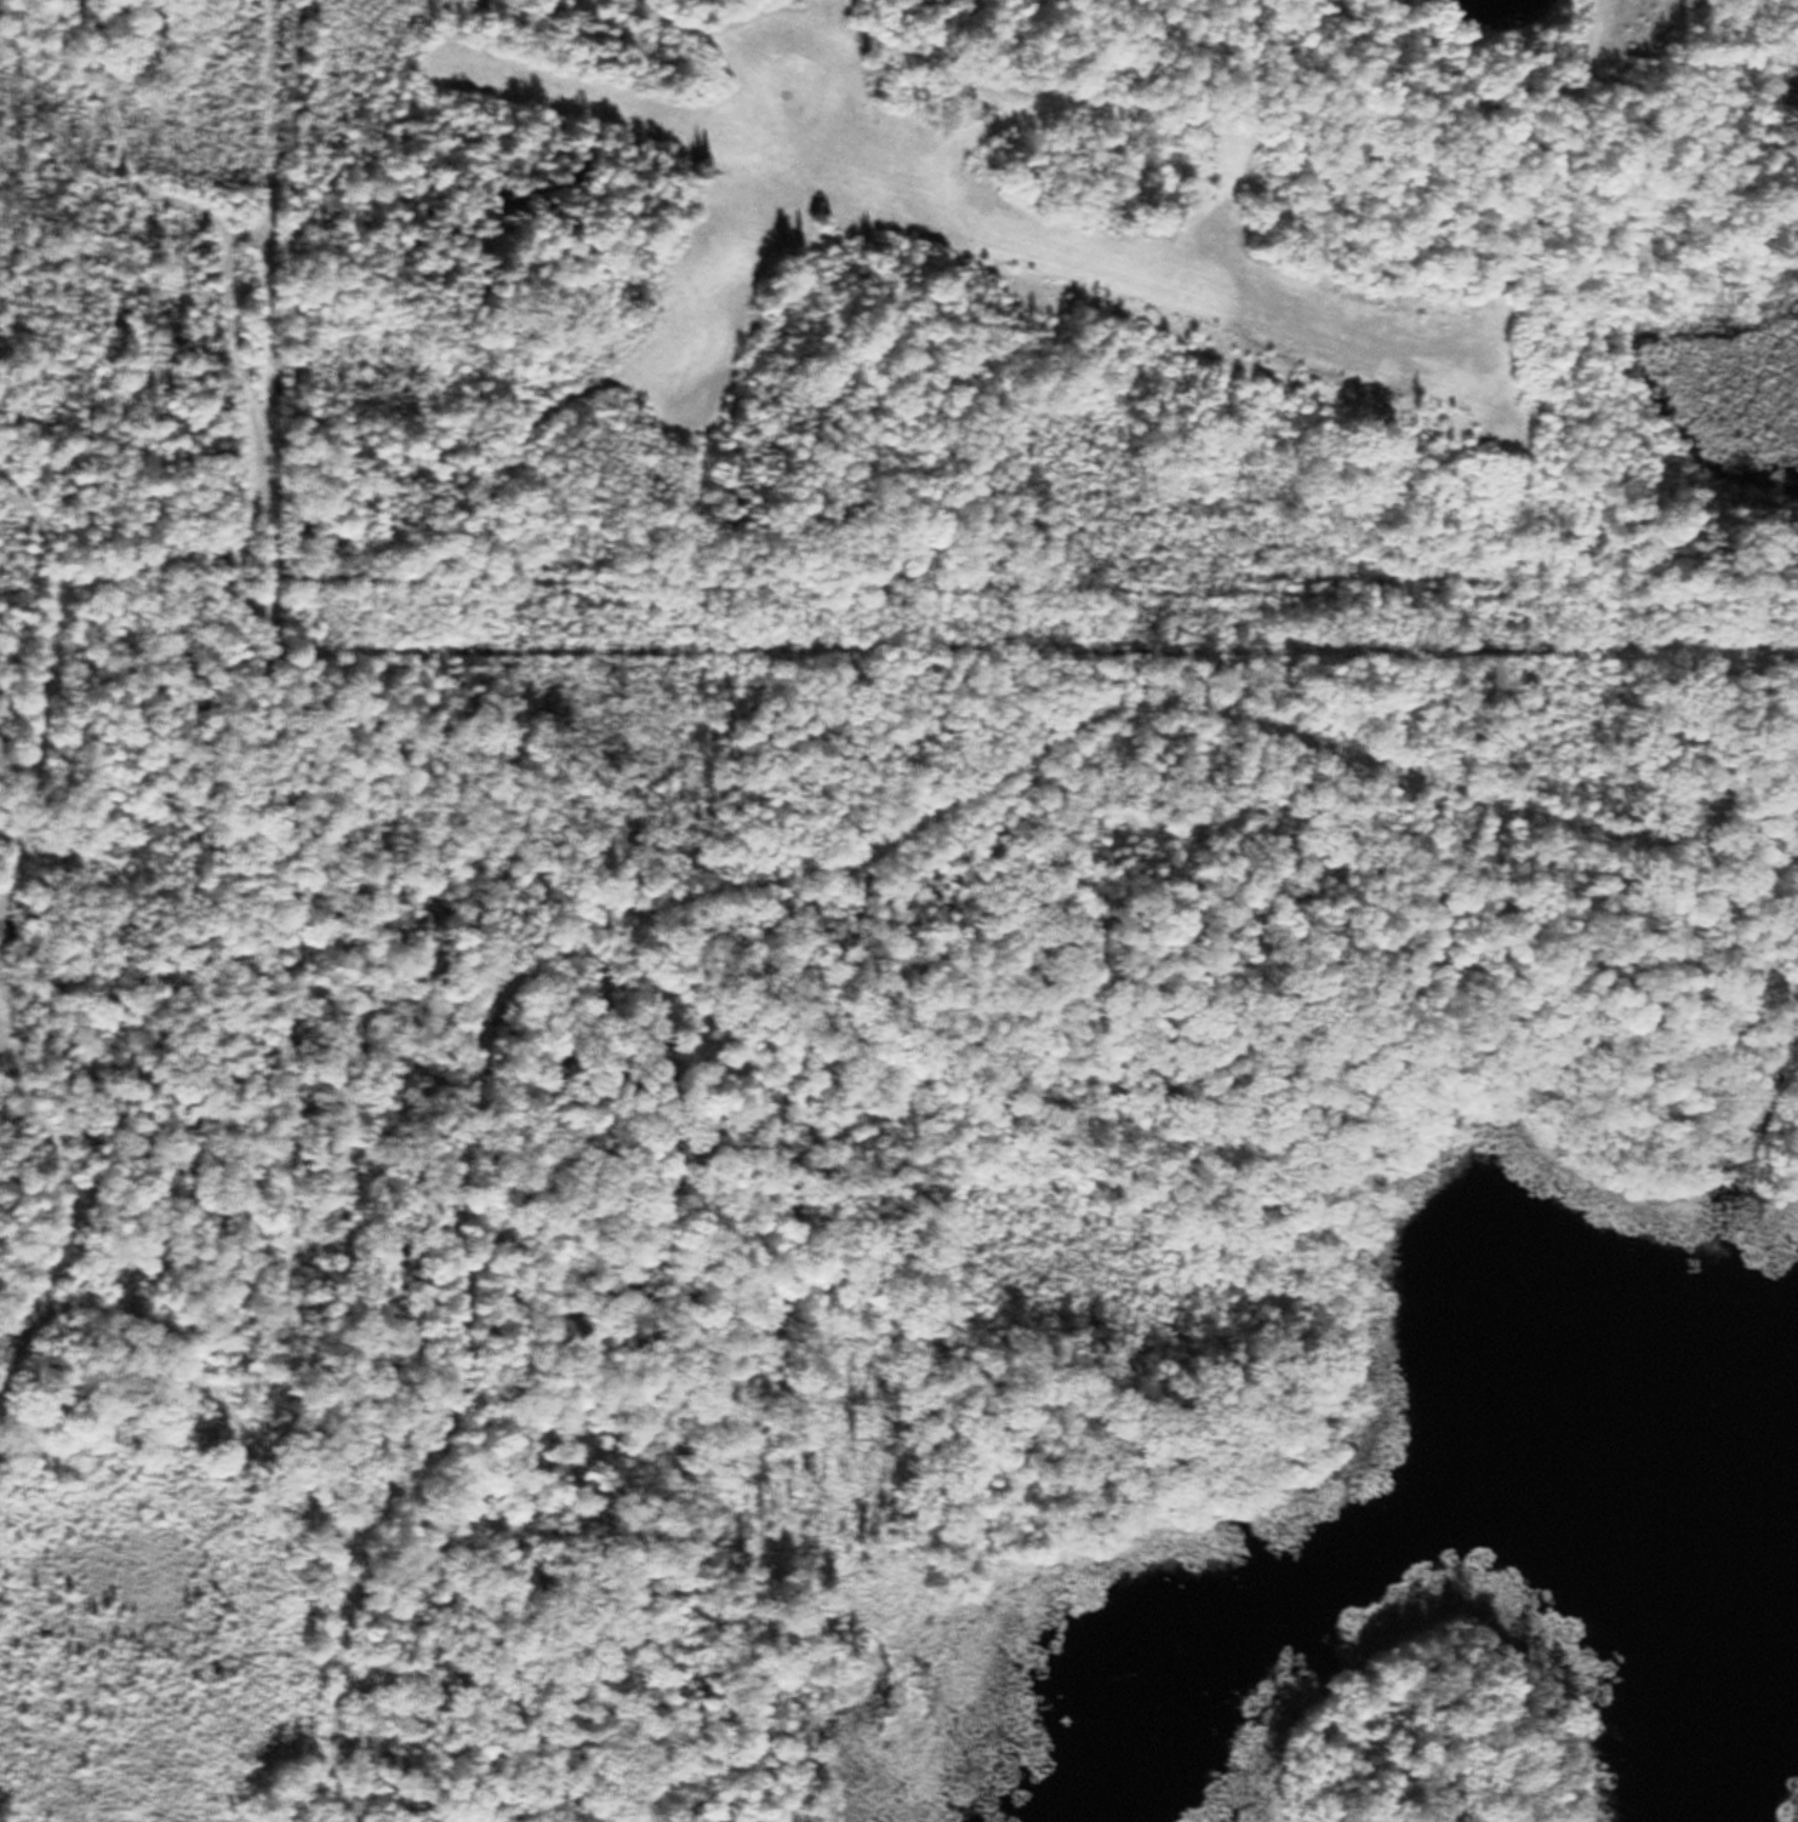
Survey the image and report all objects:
helipad: (880, 173)

